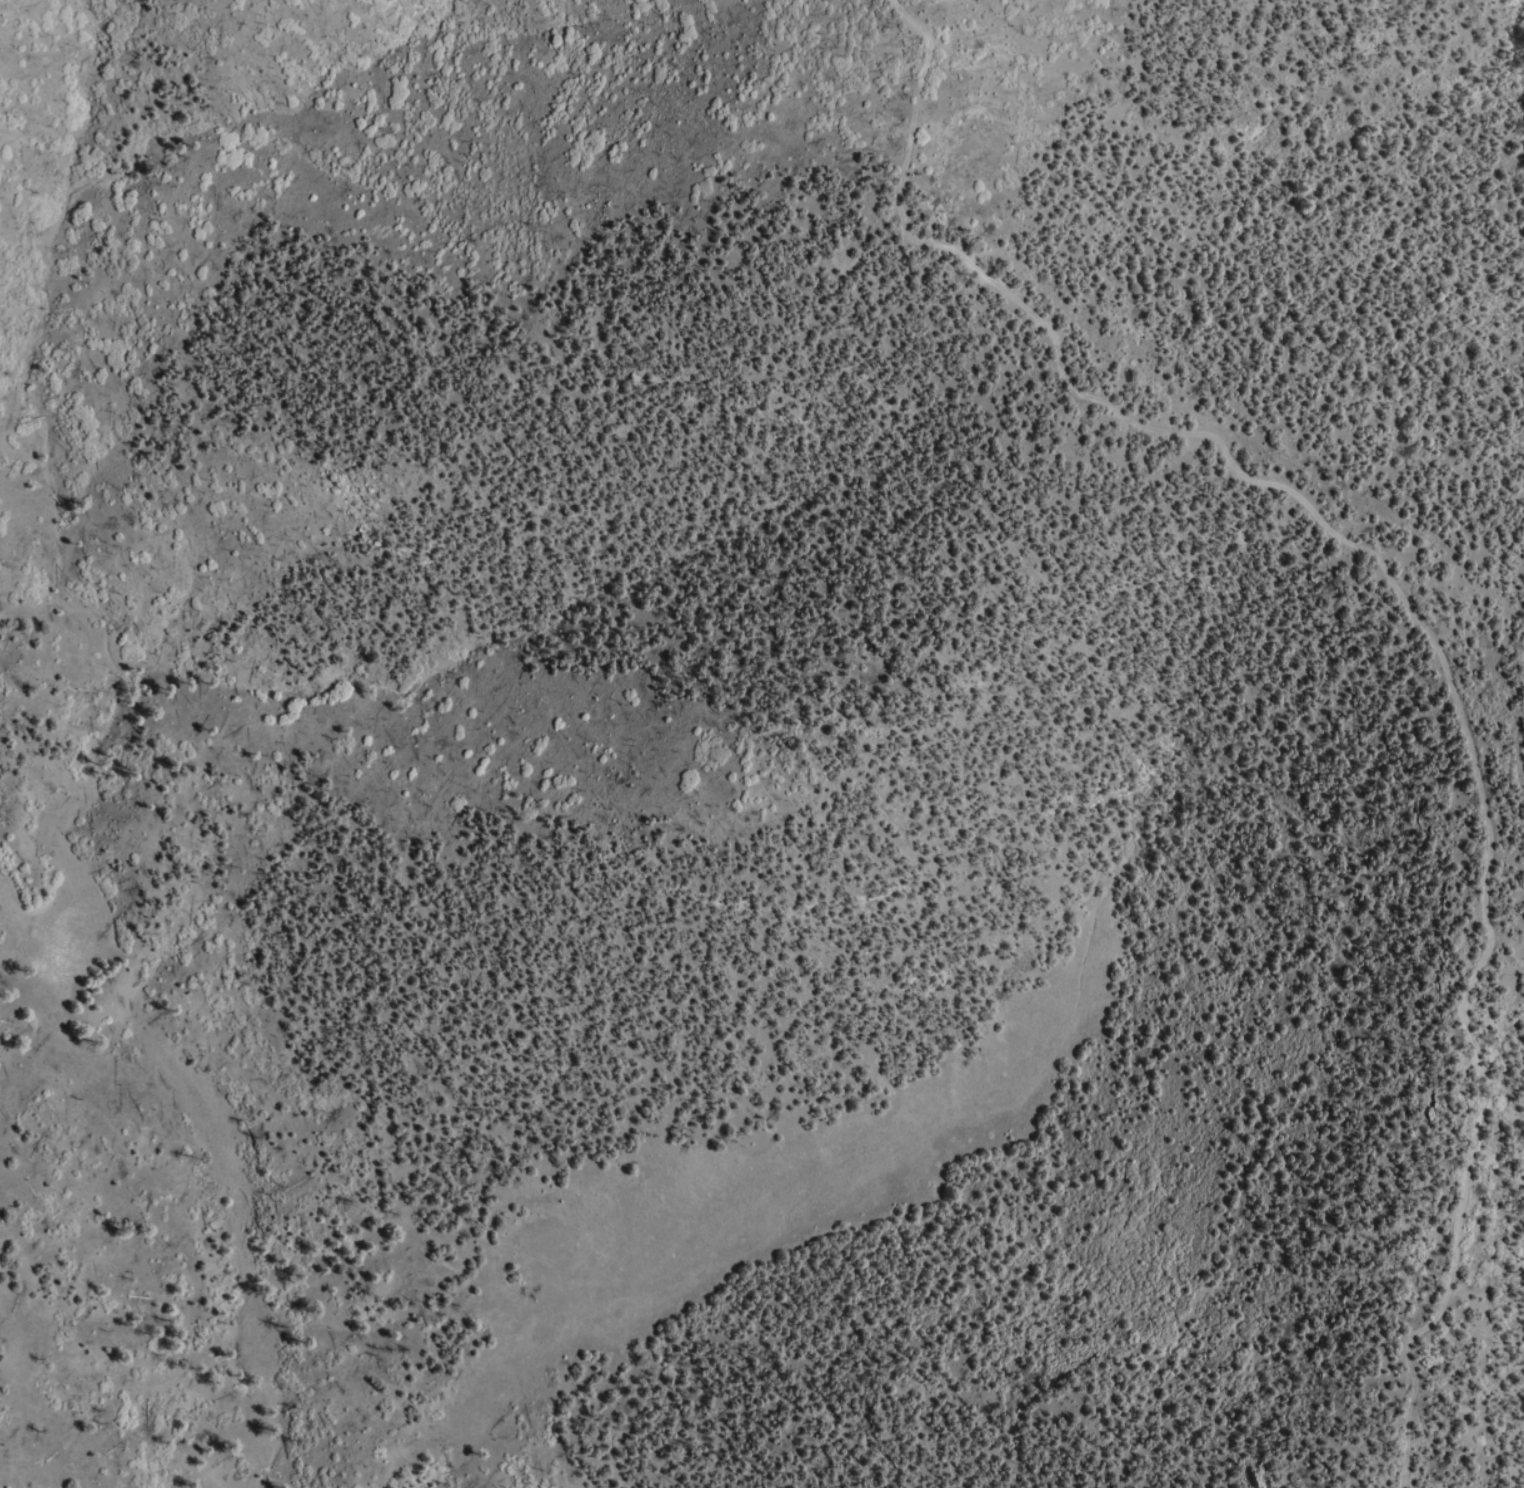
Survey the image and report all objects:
road: (1415, 615)

